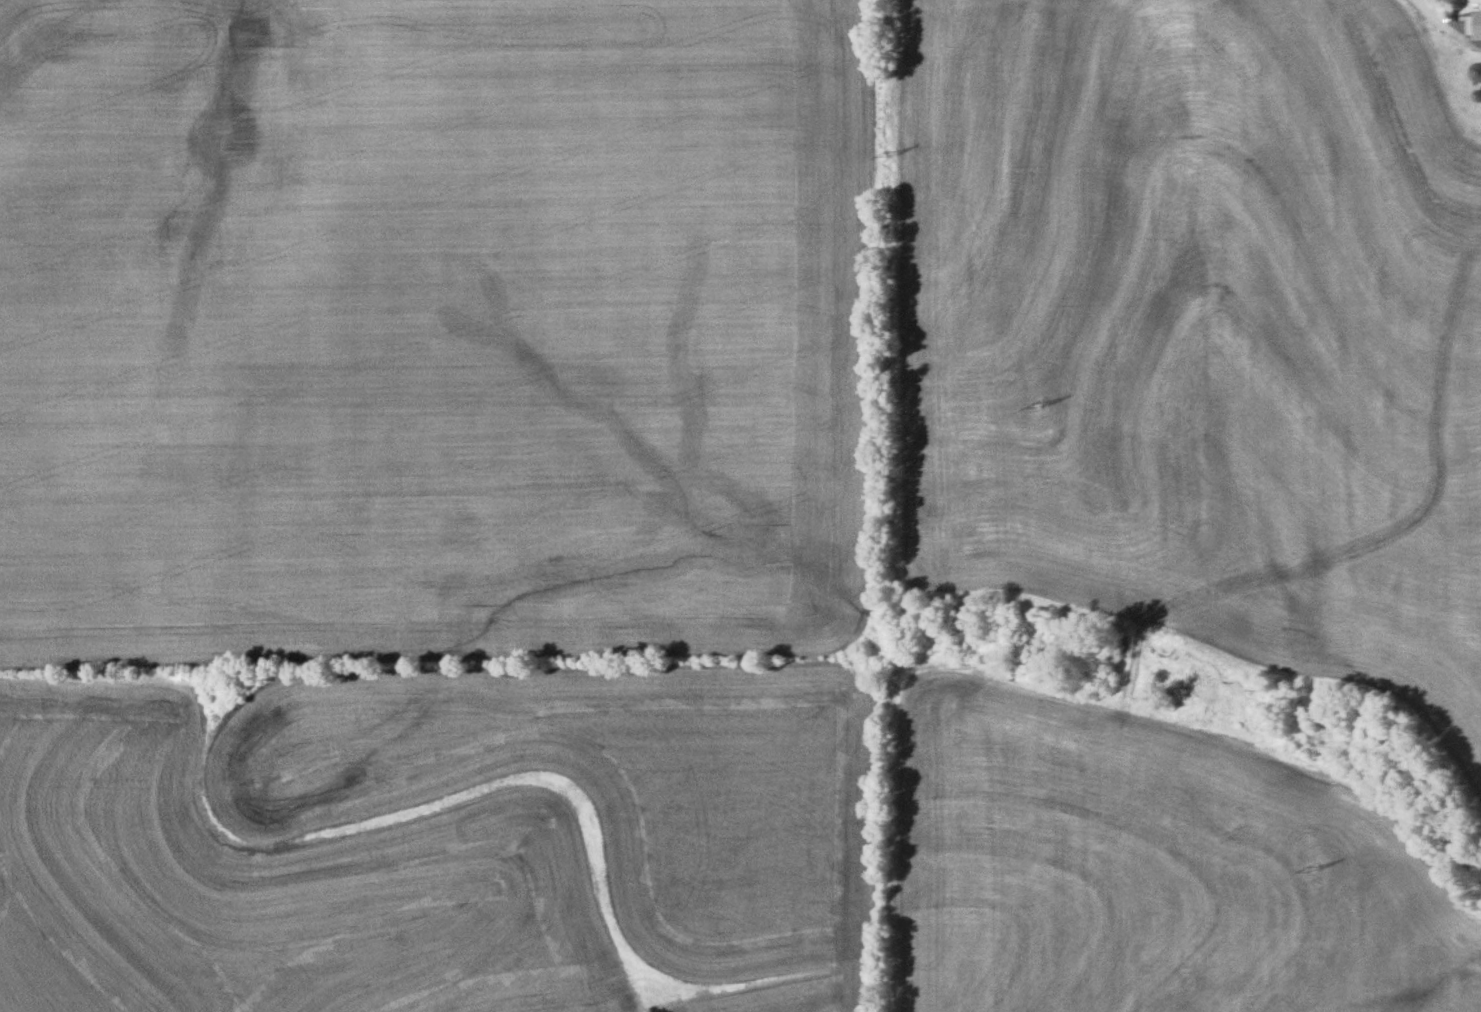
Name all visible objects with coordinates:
building: (1470, 23)
road: (1451, 25)
building: (1477, 74)
power tower: (891, 154)
power tower: (1041, 407)
power tower: (1313, 867)

